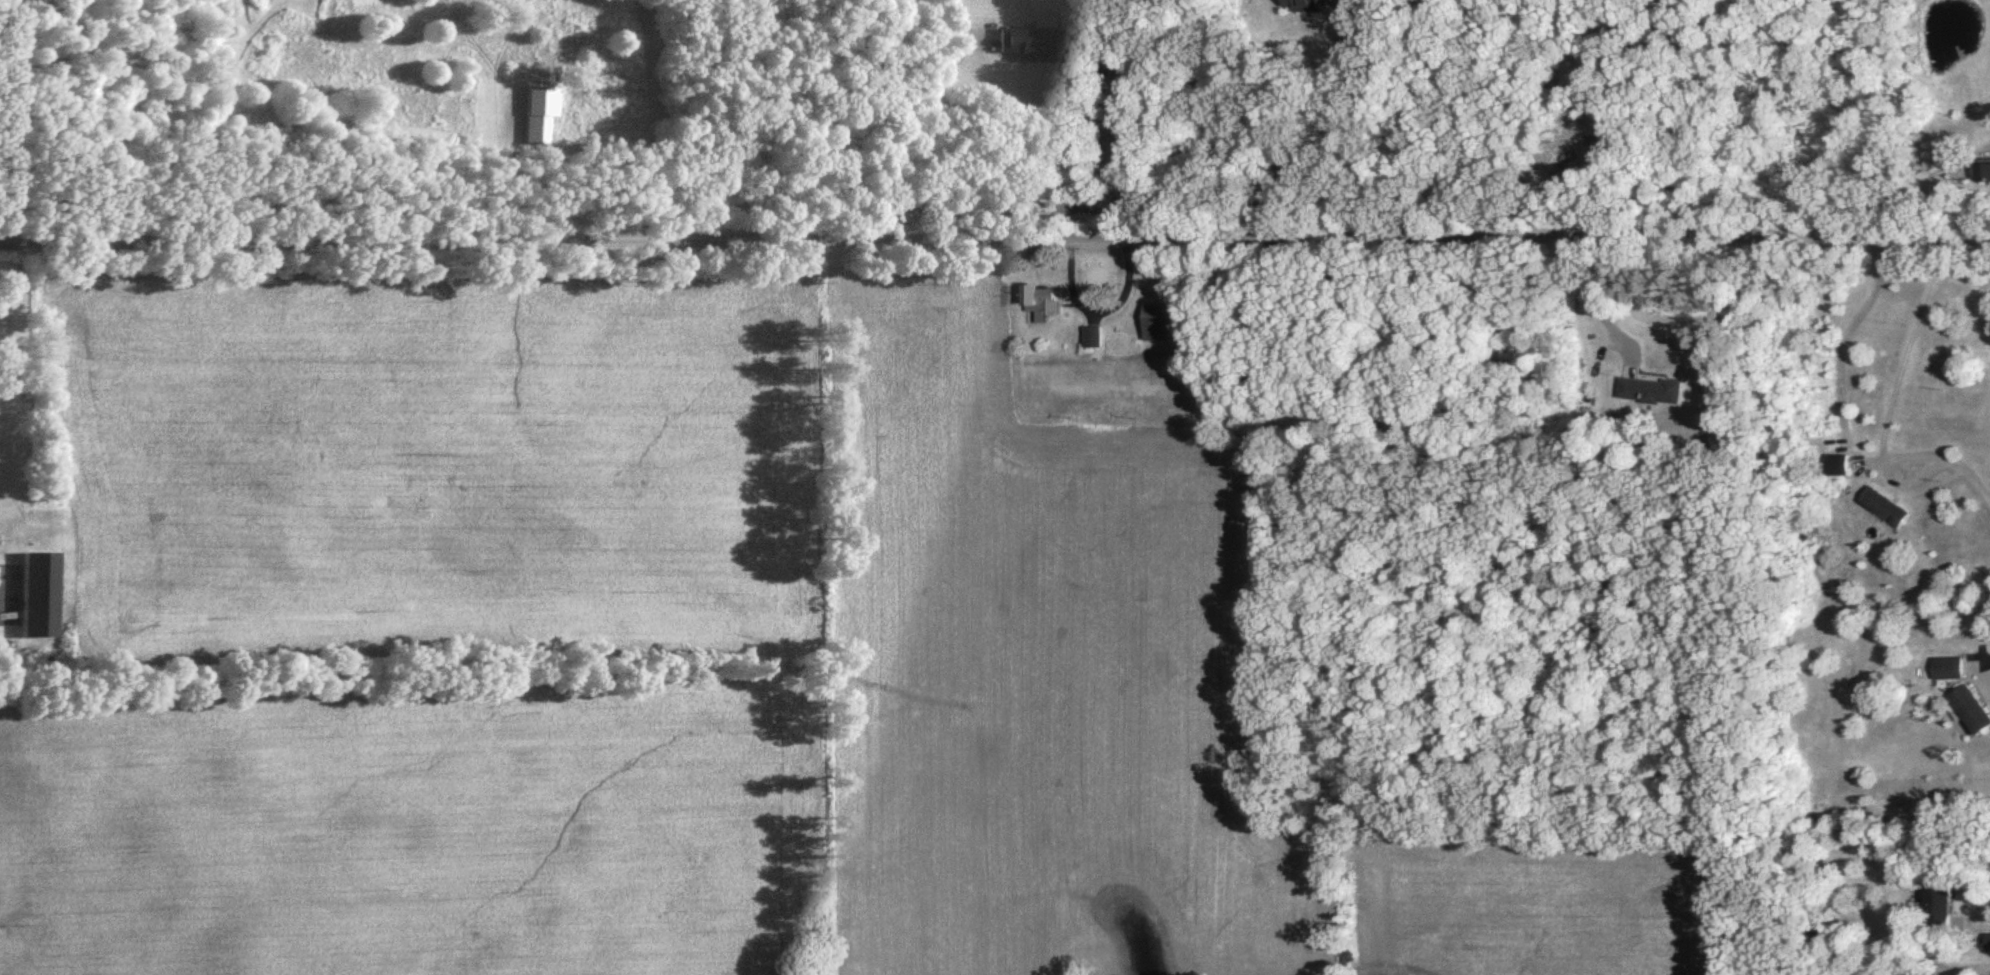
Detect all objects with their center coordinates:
road: (1934, 175)
building: (1982, 175)
road: (995, 250)
road: (1586, 297)
building: (1039, 305)
road: (1098, 313)
building: (1167, 326)
building: (1091, 341)
road: (1920, 348)
building: (1651, 395)
building: (1835, 470)
road: (1889, 476)
road: (1972, 481)
building: (1882, 512)
building: (34, 599)
building: (1945, 672)
building: (1968, 713)
building: (1935, 912)
building: (1987, 947)

